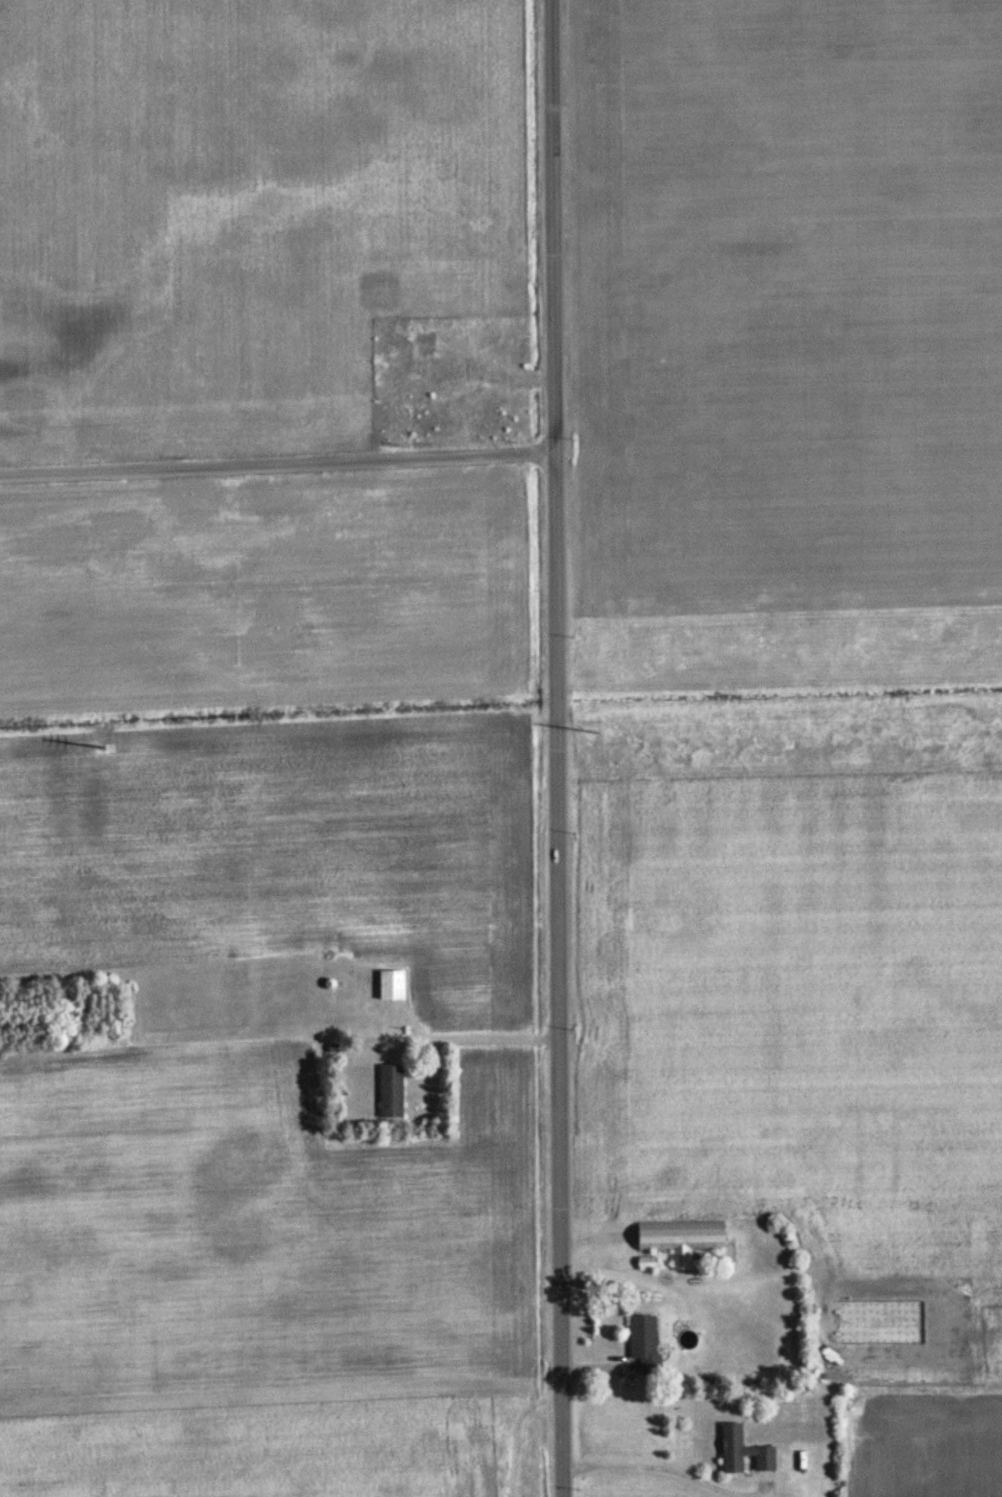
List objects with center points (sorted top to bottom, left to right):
road: (277, 465)
power tower: (598, 733)
road: (557, 748)
power tower: (107, 749)
building: (391, 986)
road: (467, 1021)
building: (390, 1092)
building: (680, 1240)
building: (647, 1265)
building: (643, 1343)
building: (742, 1453)
road: (652, 1471)

